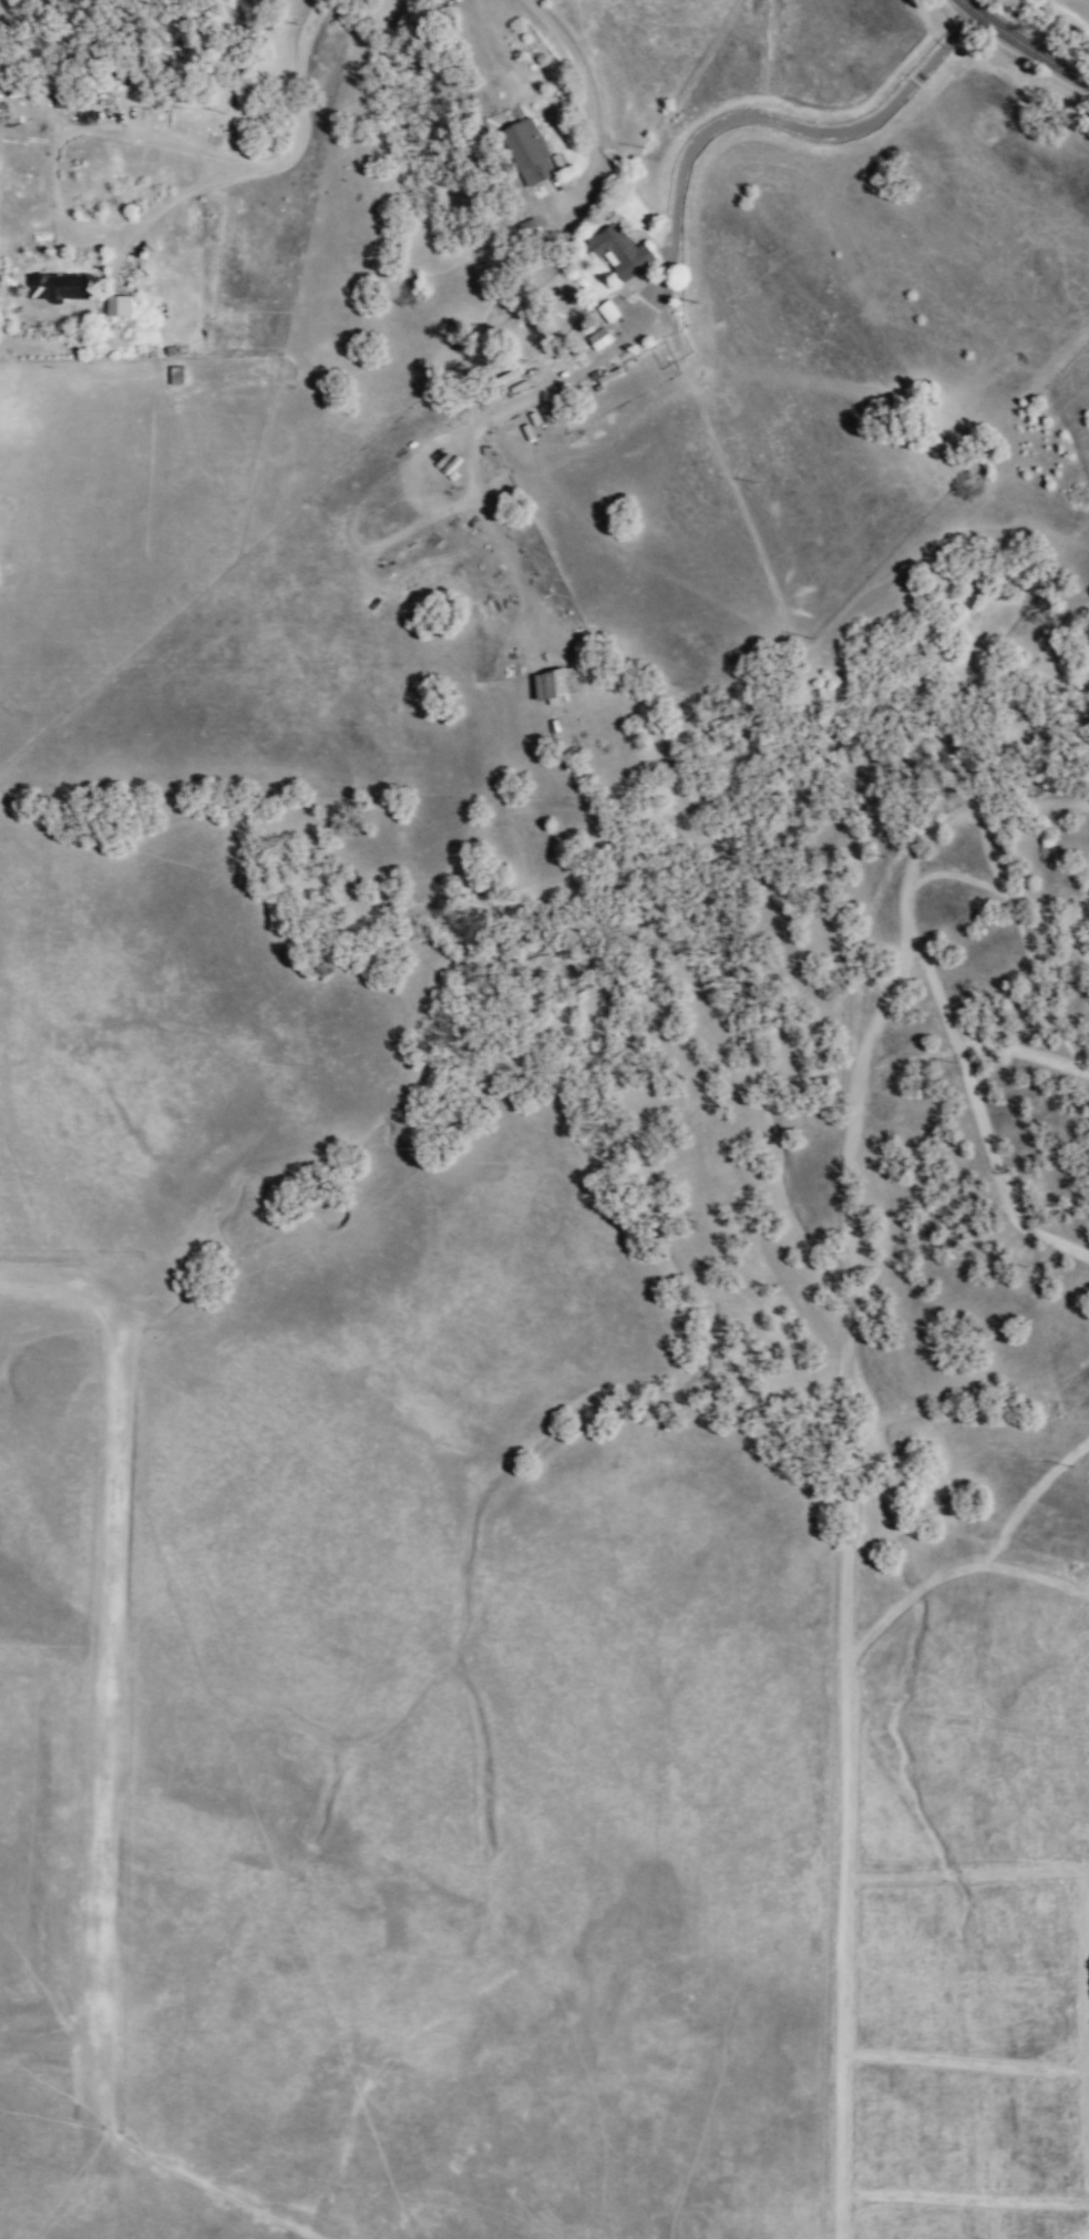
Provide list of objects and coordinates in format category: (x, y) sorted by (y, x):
building: (429, 0)
road: (1019, 45)
road: (589, 102)
road: (754, 120)
building: (530, 152)
building: (621, 252)
building: (59, 286)
building: (117, 306)
building: (599, 338)
building: (555, 685)

